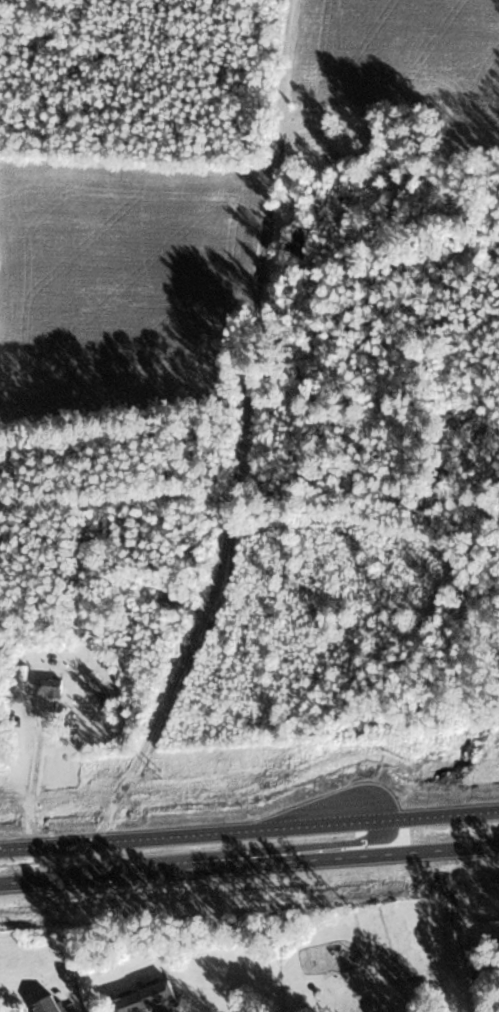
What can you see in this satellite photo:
building: (397, 200)
building: (298, 244)
road: (240, 433)
building: (170, 606)
building: (21, 678)
building: (50, 687)
building: (98, 689)
power tower: (150, 775)
road: (34, 790)
road: (249, 830)
road: (284, 852)
road: (336, 857)
road: (124, 874)
road: (37, 880)
airport: (256, 899)
building: (149, 1000)
building: (46, 1006)

